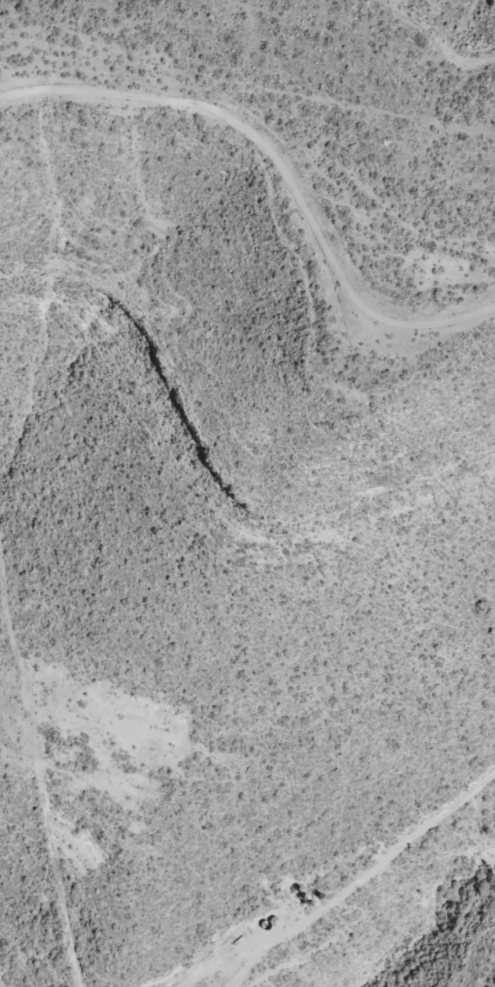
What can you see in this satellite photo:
road: (288, 186)
road: (364, 918)

